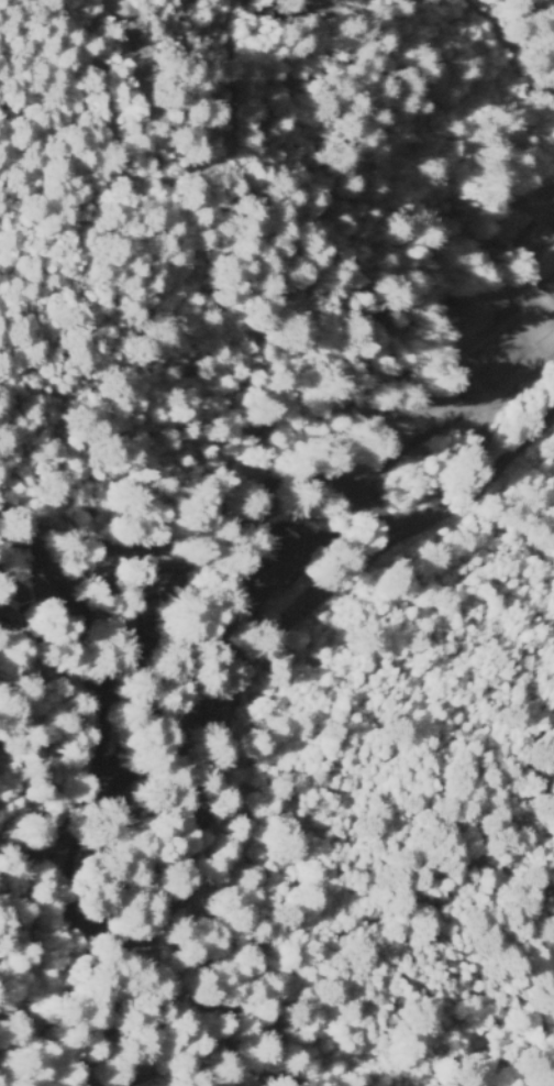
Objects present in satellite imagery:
road: (317, 4)
road: (516, 30)
road: (175, 178)
building: (524, 219)
building: (511, 237)
road: (508, 267)
road: (514, 300)
building: (465, 317)
park: (492, 368)
road: (390, 388)
building: (481, 438)
road: (500, 467)
road: (380, 518)
road: (165, 545)
road: (176, 546)
road: (181, 551)
road: (232, 557)
road: (36, 559)
road: (195, 563)
road: (213, 572)
building: (269, 572)
building: (20, 606)
road: (258, 685)
building: (126, 694)
parking lot: (124, 771)
building: (81, 921)

